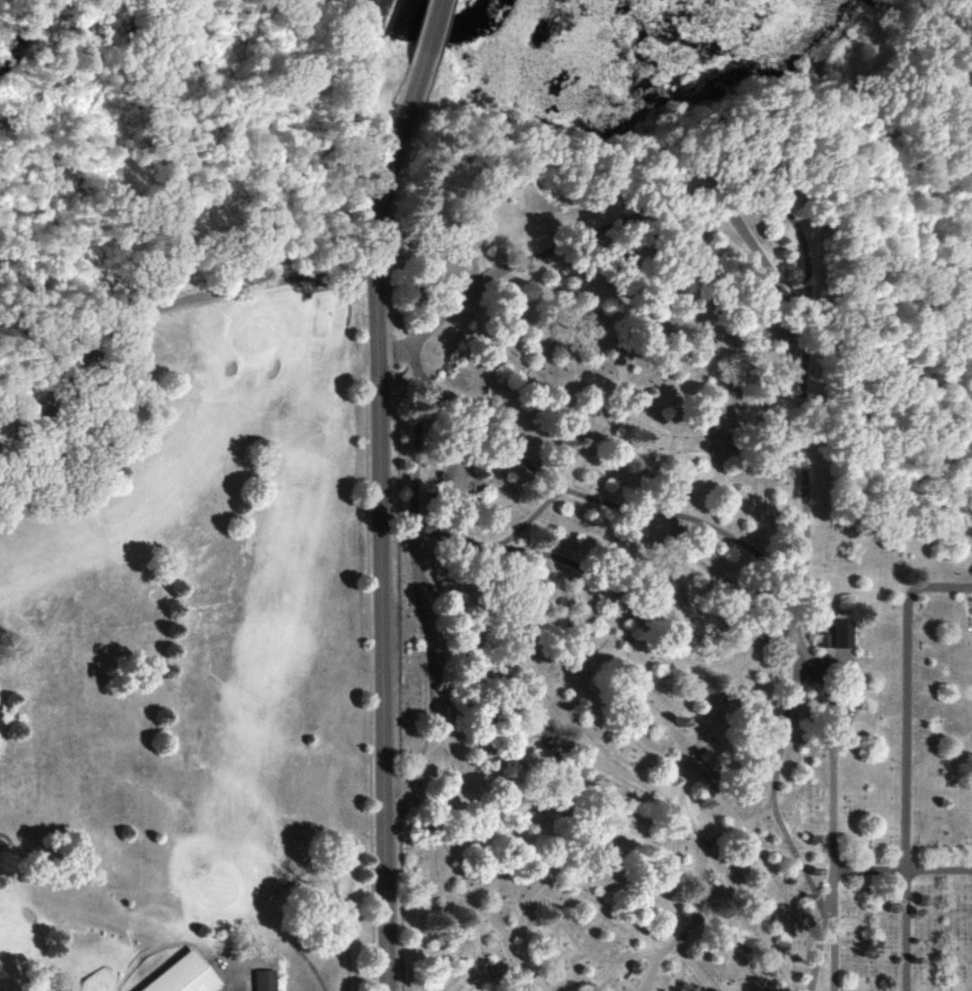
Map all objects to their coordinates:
road: (426, 37)
park: (903, 247)
road: (153, 313)
road: (803, 395)
road: (603, 507)
road: (381, 531)
road: (414, 581)
park: (660, 589)
building: (836, 635)
park: (188, 642)
road: (905, 697)
road: (558, 702)
road: (856, 708)
road: (705, 725)
road: (772, 784)
road: (902, 868)
road: (696, 890)
road: (444, 902)
road: (901, 929)
road: (826, 952)
road: (612, 966)
building: (175, 976)
building: (265, 981)
parking lot: (237, 985)

